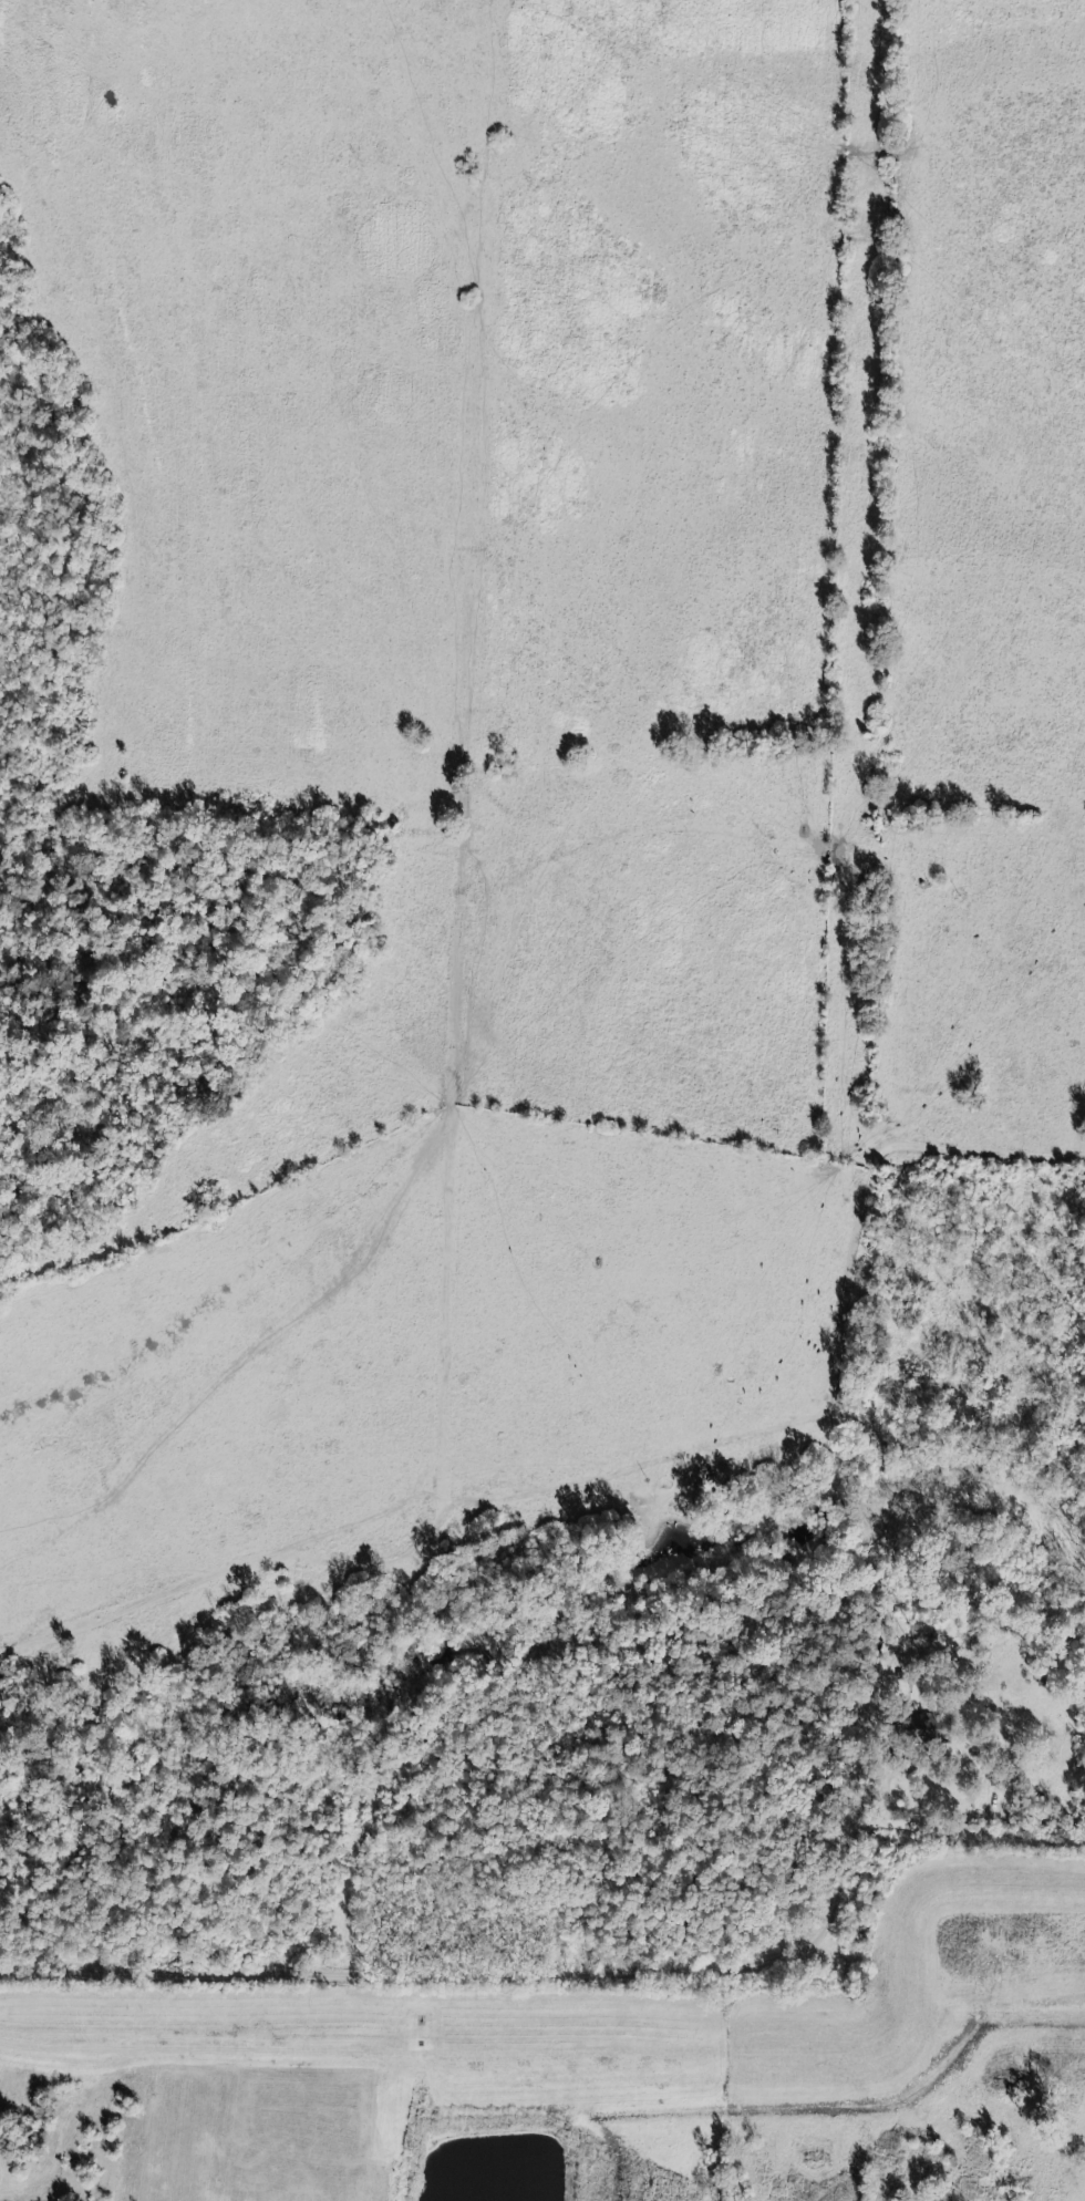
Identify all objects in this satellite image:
road: (472, 1010)
road: (833, 1401)
road: (586, 1975)
road: (912, 2015)

